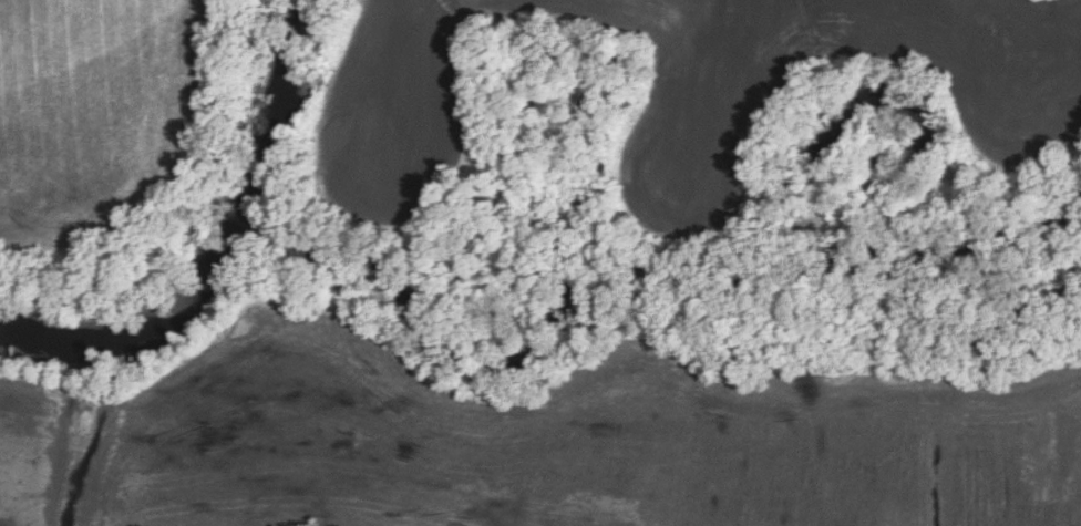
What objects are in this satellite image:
river: (234, 251)

